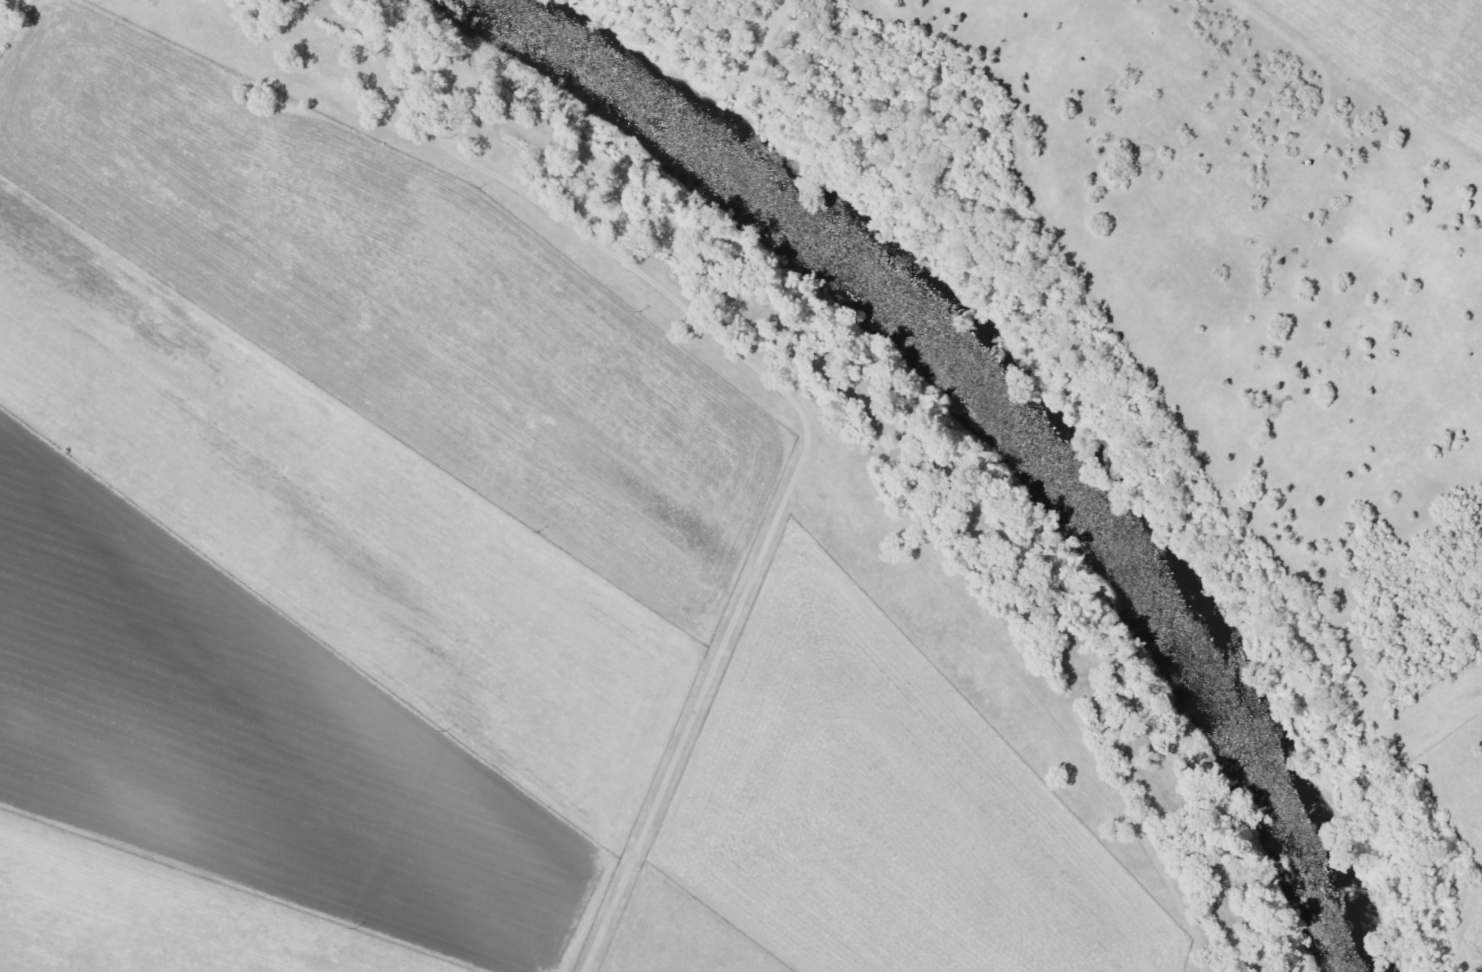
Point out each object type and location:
road: (1346, 88)
road: (845, 103)
river: (848, 510)

